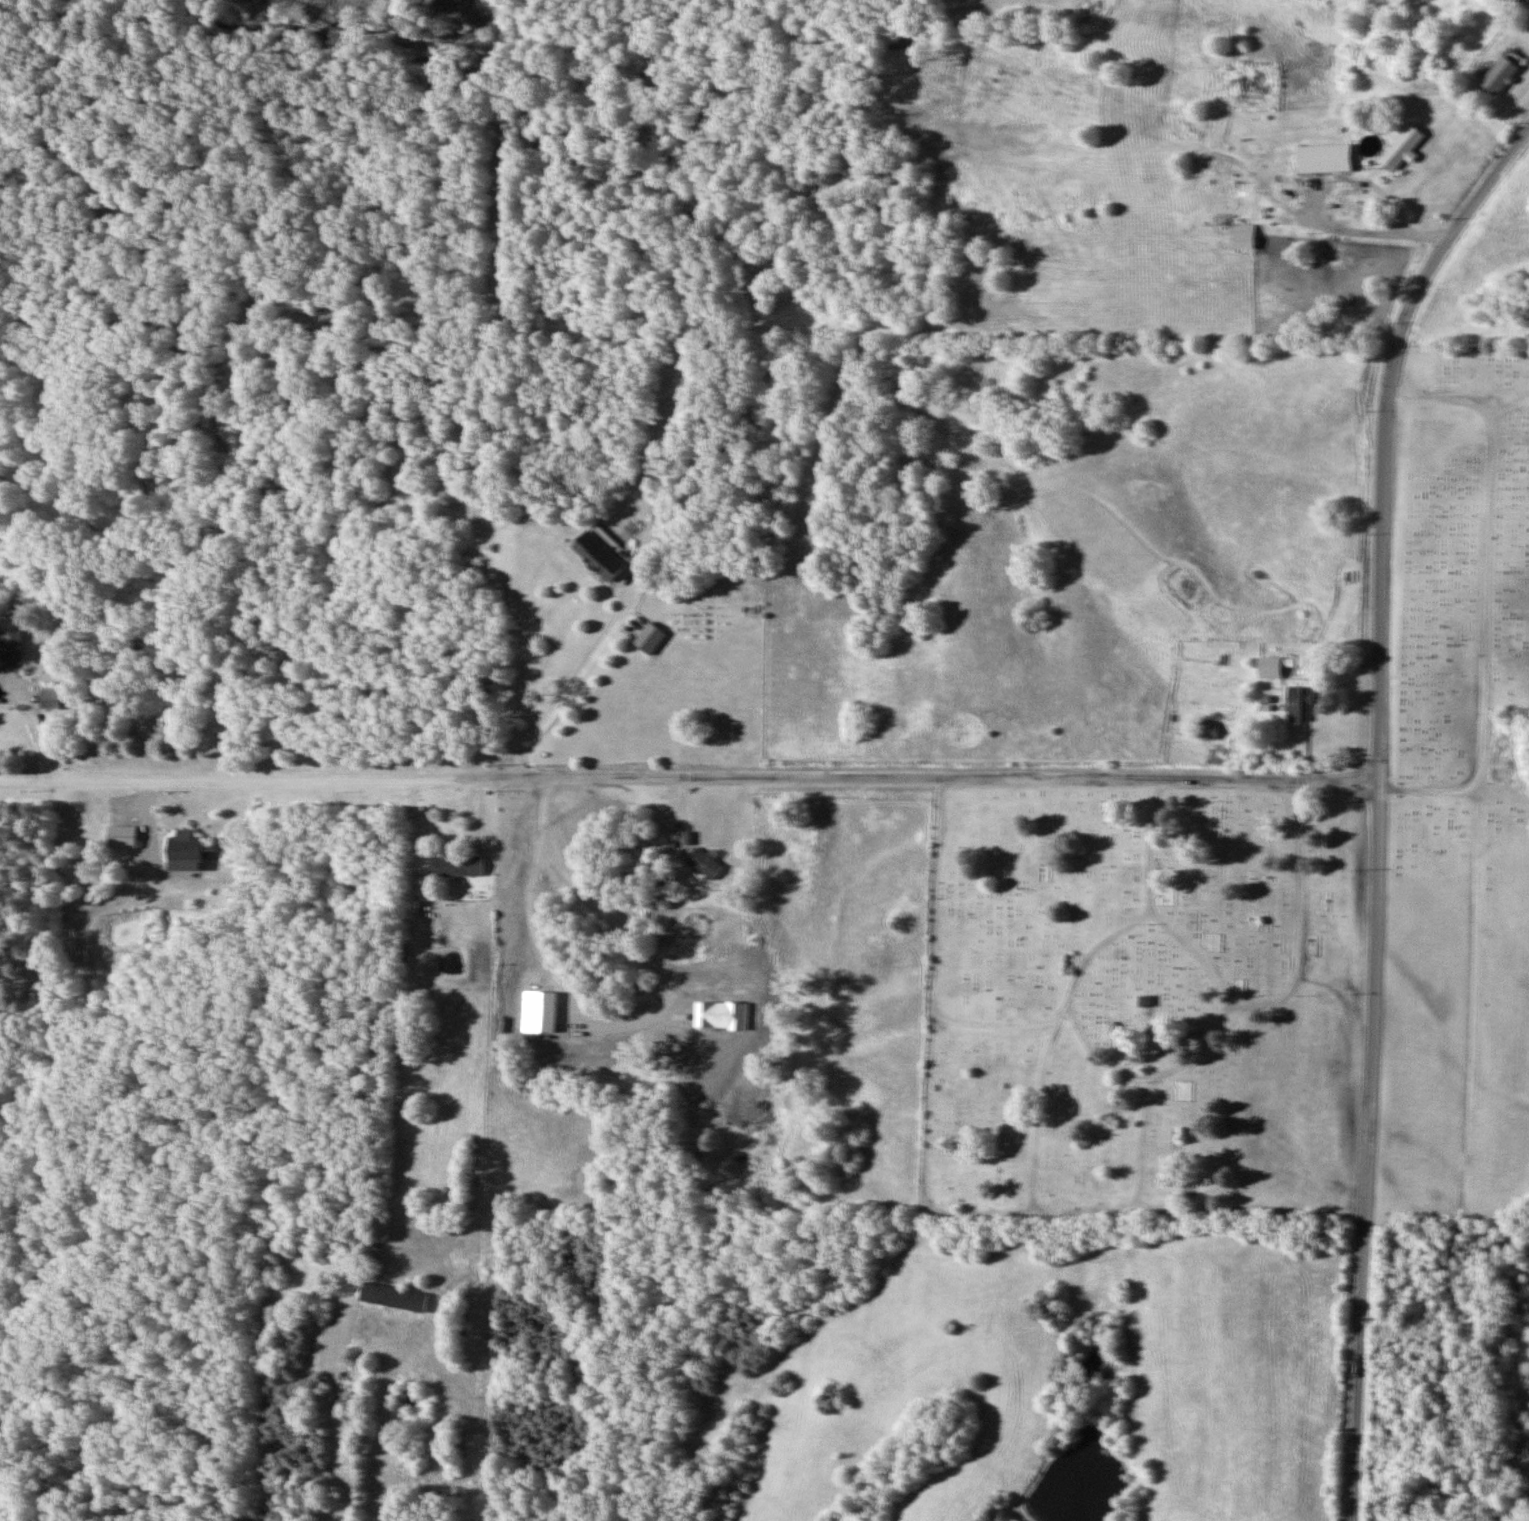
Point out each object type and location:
building: (1499, 75)
building: (1400, 147)
building: (1331, 157)
building: (1342, 208)
building: (1248, 235)
building: (598, 555)
road: (1488, 594)
building: (21, 604)
building: (11, 646)
building: (1269, 667)
building: (49, 698)
building: (1299, 704)
building: (1208, 729)
road: (688, 775)
park: (1458, 797)
road: (1377, 806)
building: (121, 837)
building: (182, 851)
building: (704, 863)
building: (456, 865)
road: (1299, 922)
road: (1220, 994)
park: (1140, 1005)
building: (1144, 1005)
road: (996, 1026)
road: (1051, 1039)
road: (927, 1161)
building: (392, 1297)

